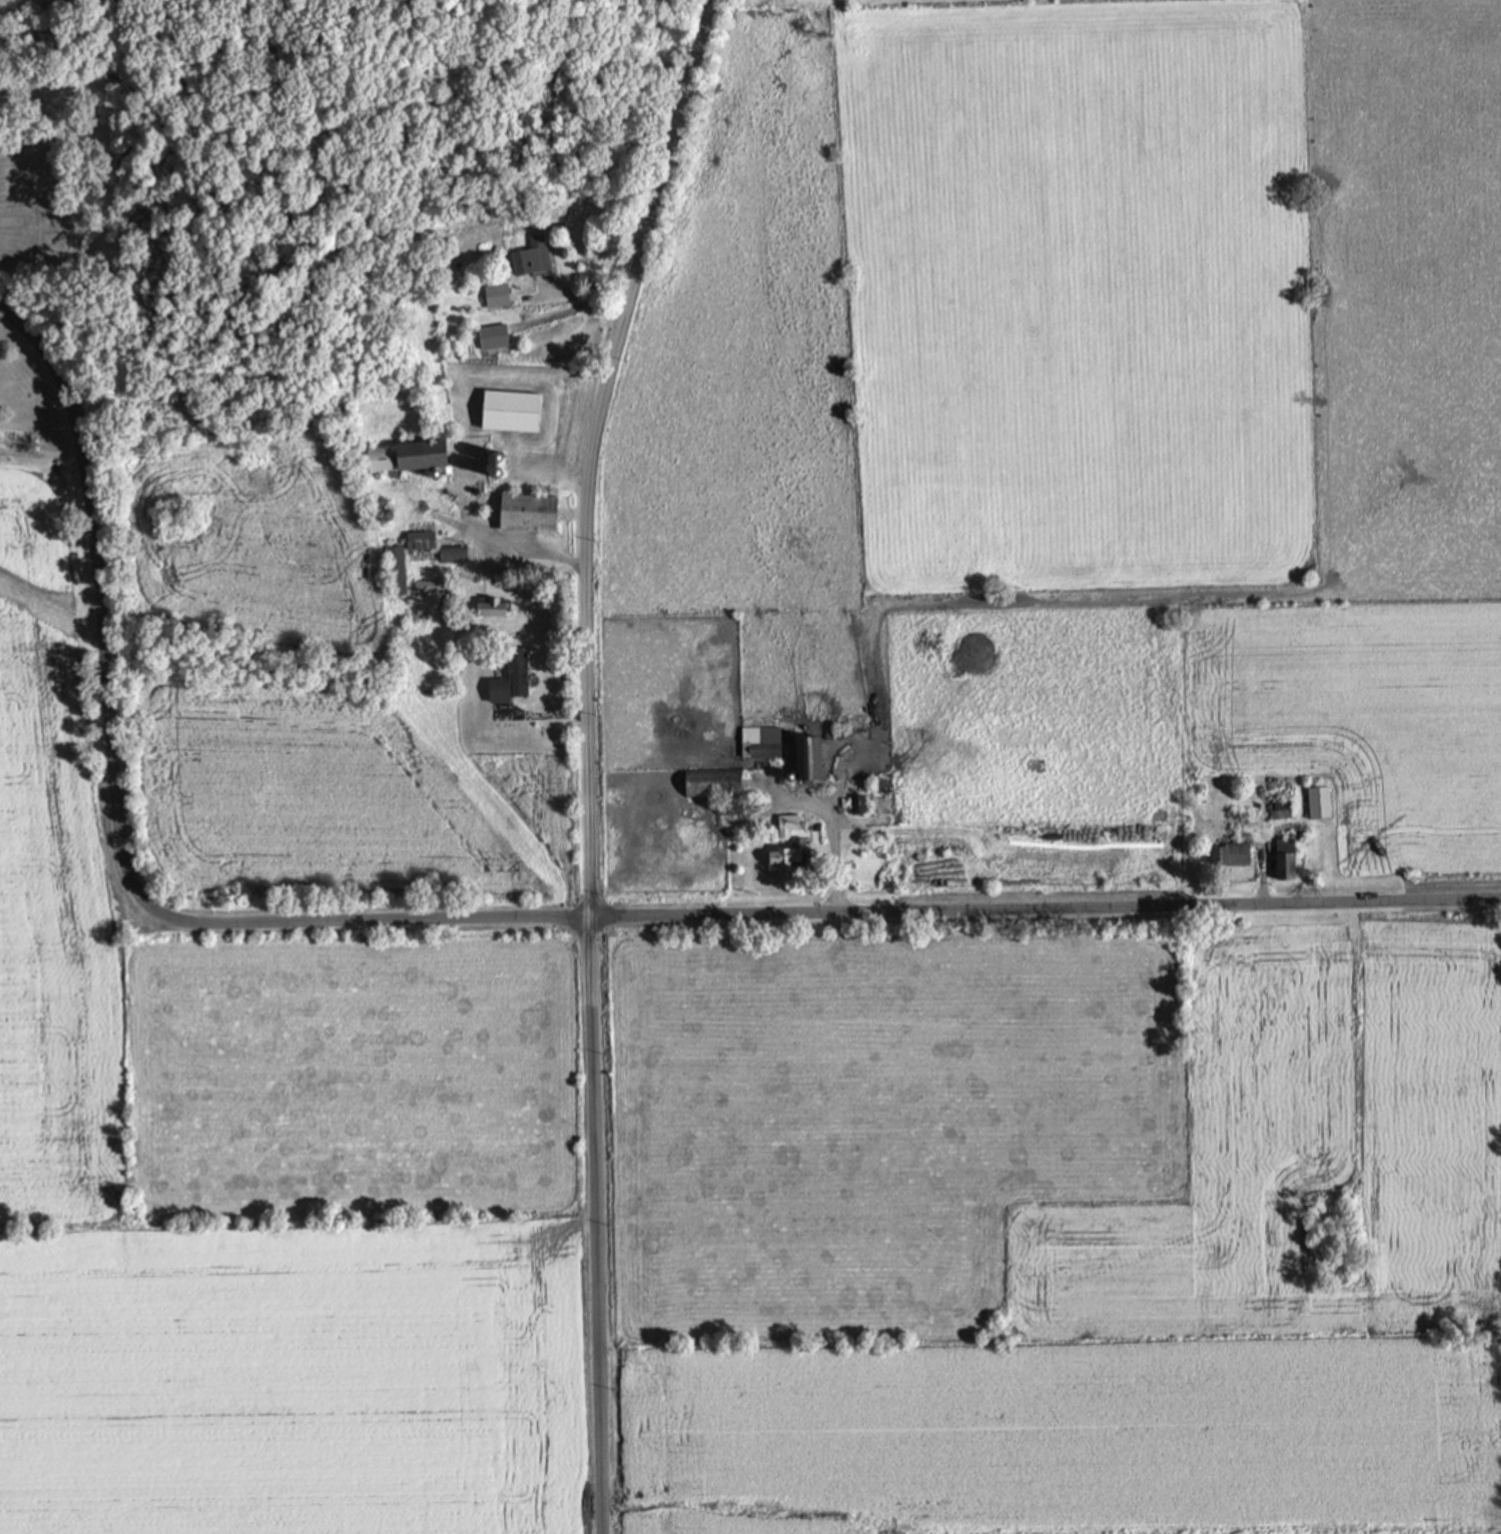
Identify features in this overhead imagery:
building: (527, 257)
building: (493, 295)
road: (581, 303)
road: (549, 320)
building: (489, 337)
building: (507, 413)
building: (403, 457)
building: (497, 457)
building: (496, 472)
building: (434, 473)
building: (373, 503)
building: (524, 514)
building: (379, 516)
building: (417, 540)
road: (501, 544)
building: (450, 553)
building: (392, 570)
building: (426, 586)
building: (487, 607)
building: (411, 614)
building: (507, 680)
road: (543, 715)
building: (758, 741)
road: (587, 758)
building: (803, 758)
building: (709, 781)
building: (1315, 800)
building: (856, 804)
building: (726, 807)
building: (1277, 808)
road: (115, 818)
building: (787, 823)
road: (963, 828)
road: (832, 832)
building: (1228, 853)
building: (787, 854)
building: (1281, 857)
road: (1261, 869)
road: (1043, 906)
road: (1354, 1046)

